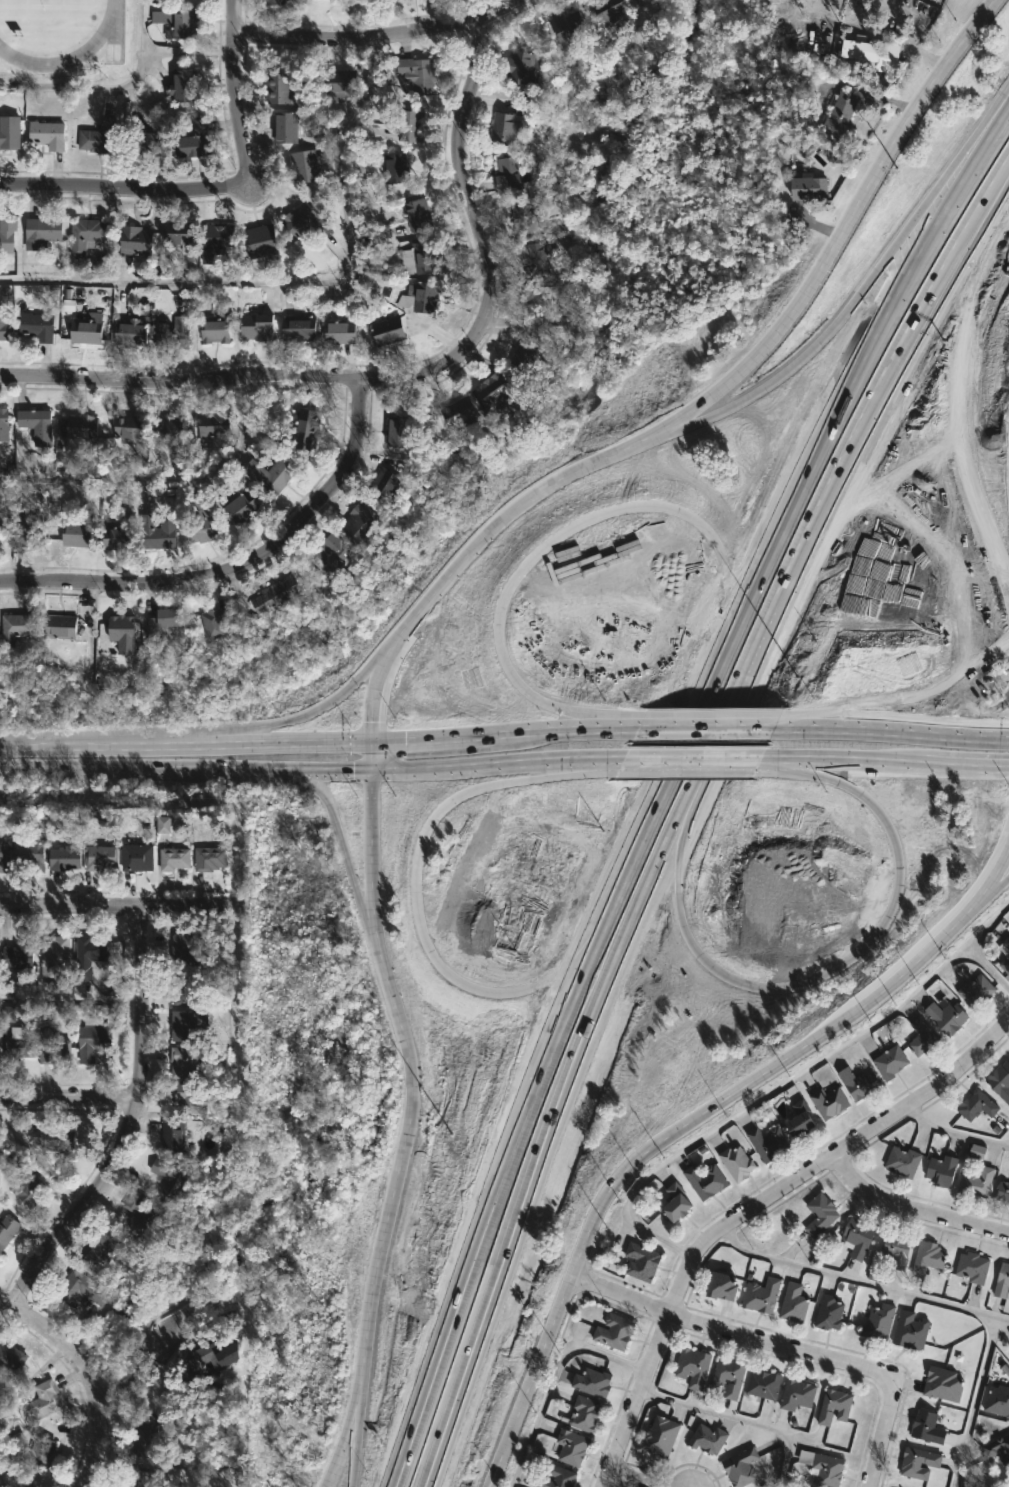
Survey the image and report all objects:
building: (276, 1)
park: (46, 3)
building: (606, 8)
building: (182, 24)
road: (915, 26)
building: (566, 29)
road: (374, 34)
park: (62, 39)
building: (873, 51)
road: (185, 54)
building: (522, 66)
building: (417, 73)
road: (106, 84)
building: (336, 85)
building: (180, 86)
building: (277, 88)
road: (233, 92)
road: (992, 107)
building: (840, 113)
building: (410, 125)
building: (284, 127)
building: (502, 129)
building: (9, 132)
building: (46, 134)
building: (139, 136)
building: (98, 137)
building: (194, 141)
road: (341, 162)
building: (304, 166)
building: (395, 168)
building: (506, 174)
road: (995, 178)
road: (995, 186)
road: (125, 187)
building: (809, 188)
building: (417, 215)
building: (522, 217)
building: (301, 222)
building: (41, 232)
building: (6, 234)
building: (175, 234)
building: (85, 235)
building: (135, 240)
building: (215, 241)
building: (260, 241)
building: (419, 258)
building: (536, 258)
road: (213, 282)
road: (859, 290)
building: (420, 298)
building: (541, 302)
building: (2, 323)
building: (34, 326)
building: (214, 327)
building: (256, 327)
building: (298, 328)
building: (86, 329)
building: (338, 330)
building: (172, 331)
building: (387, 331)
building: (130, 333)
building: (525, 352)
road: (854, 370)
road: (409, 375)
road: (881, 381)
building: (490, 390)
road: (701, 398)
road: (964, 405)
building: (456, 412)
road: (688, 421)
building: (213, 424)
building: (3, 425)
building: (35, 425)
building: (169, 425)
building: (78, 427)
building: (129, 428)
building: (304, 430)
building: (398, 433)
building: (269, 475)
road: (160, 479)
building: (383, 484)
building: (236, 504)
building: (358, 520)
building: (201, 523)
building: (25, 531)
building: (157, 533)
building: (75, 536)
building: (118, 539)
building: (330, 556)
road: (237, 565)
building: (276, 595)
building: (161, 622)
building: (213, 623)
building: (59, 627)
building: (15, 628)
building: (122, 633)
road: (739, 680)
road: (299, 717)
traffic signals: (370, 719)
road: (705, 726)
road: (572, 729)
road: (846, 729)
road: (965, 734)
road: (468, 737)
road: (399, 740)
traffic signals: (405, 741)
road: (184, 743)
road: (692, 759)
road: (841, 759)
road: (965, 764)
road: (523, 765)
traffic signals: (1008, 766)
road: (212, 769)
traffic signals: (352, 772)
road: (661, 784)
road: (332, 822)
building: (164, 825)
building: (27, 850)
building: (99, 856)
building: (136, 856)
building: (2, 857)
building: (63, 857)
building: (173, 858)
building: (208, 858)
road: (989, 890)
road: (109, 910)
road: (637, 912)
building: (187, 947)
building: (18, 952)
building: (53, 953)
building: (1004, 954)
building: (88, 955)
building: (182, 987)
building: (976, 992)
building: (947, 1016)
building: (183, 1025)
building: (93, 1035)
building: (923, 1038)
building: (18, 1041)
building: (52, 1049)
road: (545, 1049)
building: (182, 1062)
building: (889, 1062)
building: (1000, 1081)
road: (779, 1083)
building: (859, 1083)
building: (188, 1097)
road: (67, 1098)
building: (829, 1101)
building: (977, 1105)
road: (406, 1116)
building: (799, 1119)
road: (690, 1122)
road: (954, 1131)
building: (172, 1135)
building: (55, 1140)
building: (768, 1142)
building: (976, 1152)
building: (902, 1161)
building: (736, 1163)
building: (941, 1170)
building: (167, 1177)
building: (704, 1180)
building: (976, 1182)
building: (28, 1191)
building: (1002, 1192)
building: (675, 1203)
road: (749, 1212)
road: (913, 1213)
building: (139, 1215)
building: (820, 1215)
road: (67, 1217)
building: (6, 1229)
building: (858, 1237)
building: (101, 1249)
building: (896, 1250)
road: (506, 1256)
building: (927, 1258)
building: (641, 1262)
building: (972, 1267)
road: (861, 1282)
building: (722, 1285)
building: (1003, 1286)
building: (78, 1290)
building: (761, 1295)
road: (4, 1299)
building: (793, 1303)
building: (828, 1313)
building: (878, 1322)
road: (704, 1325)
building: (910, 1330)
road: (442, 1331)
building: (614, 1331)
building: (202, 1355)
building: (10, 1357)
building: (693, 1367)
road: (552, 1377)
building: (728, 1377)
road: (123, 1381)
building: (592, 1382)
building: (763, 1384)
building: (943, 1385)
building: (796, 1395)
building: (42, 1400)
road: (973, 1401)
building: (998, 1401)
building: (833, 1407)
road: (890, 1407)
building: (584, 1414)
road: (738, 1416)
building: (926, 1427)
building: (147, 1435)
building: (659, 1437)
building: (708, 1439)
road: (352, 1442)
building: (571, 1448)
building: (997, 1449)
building: (41, 1453)
building: (918, 1463)
building: (740, 1467)
building: (822, 1467)
building: (555, 1477)
building: (142, 1478)
building: (10, 1481)
road: (350, 1481)
road: (622, 1481)

